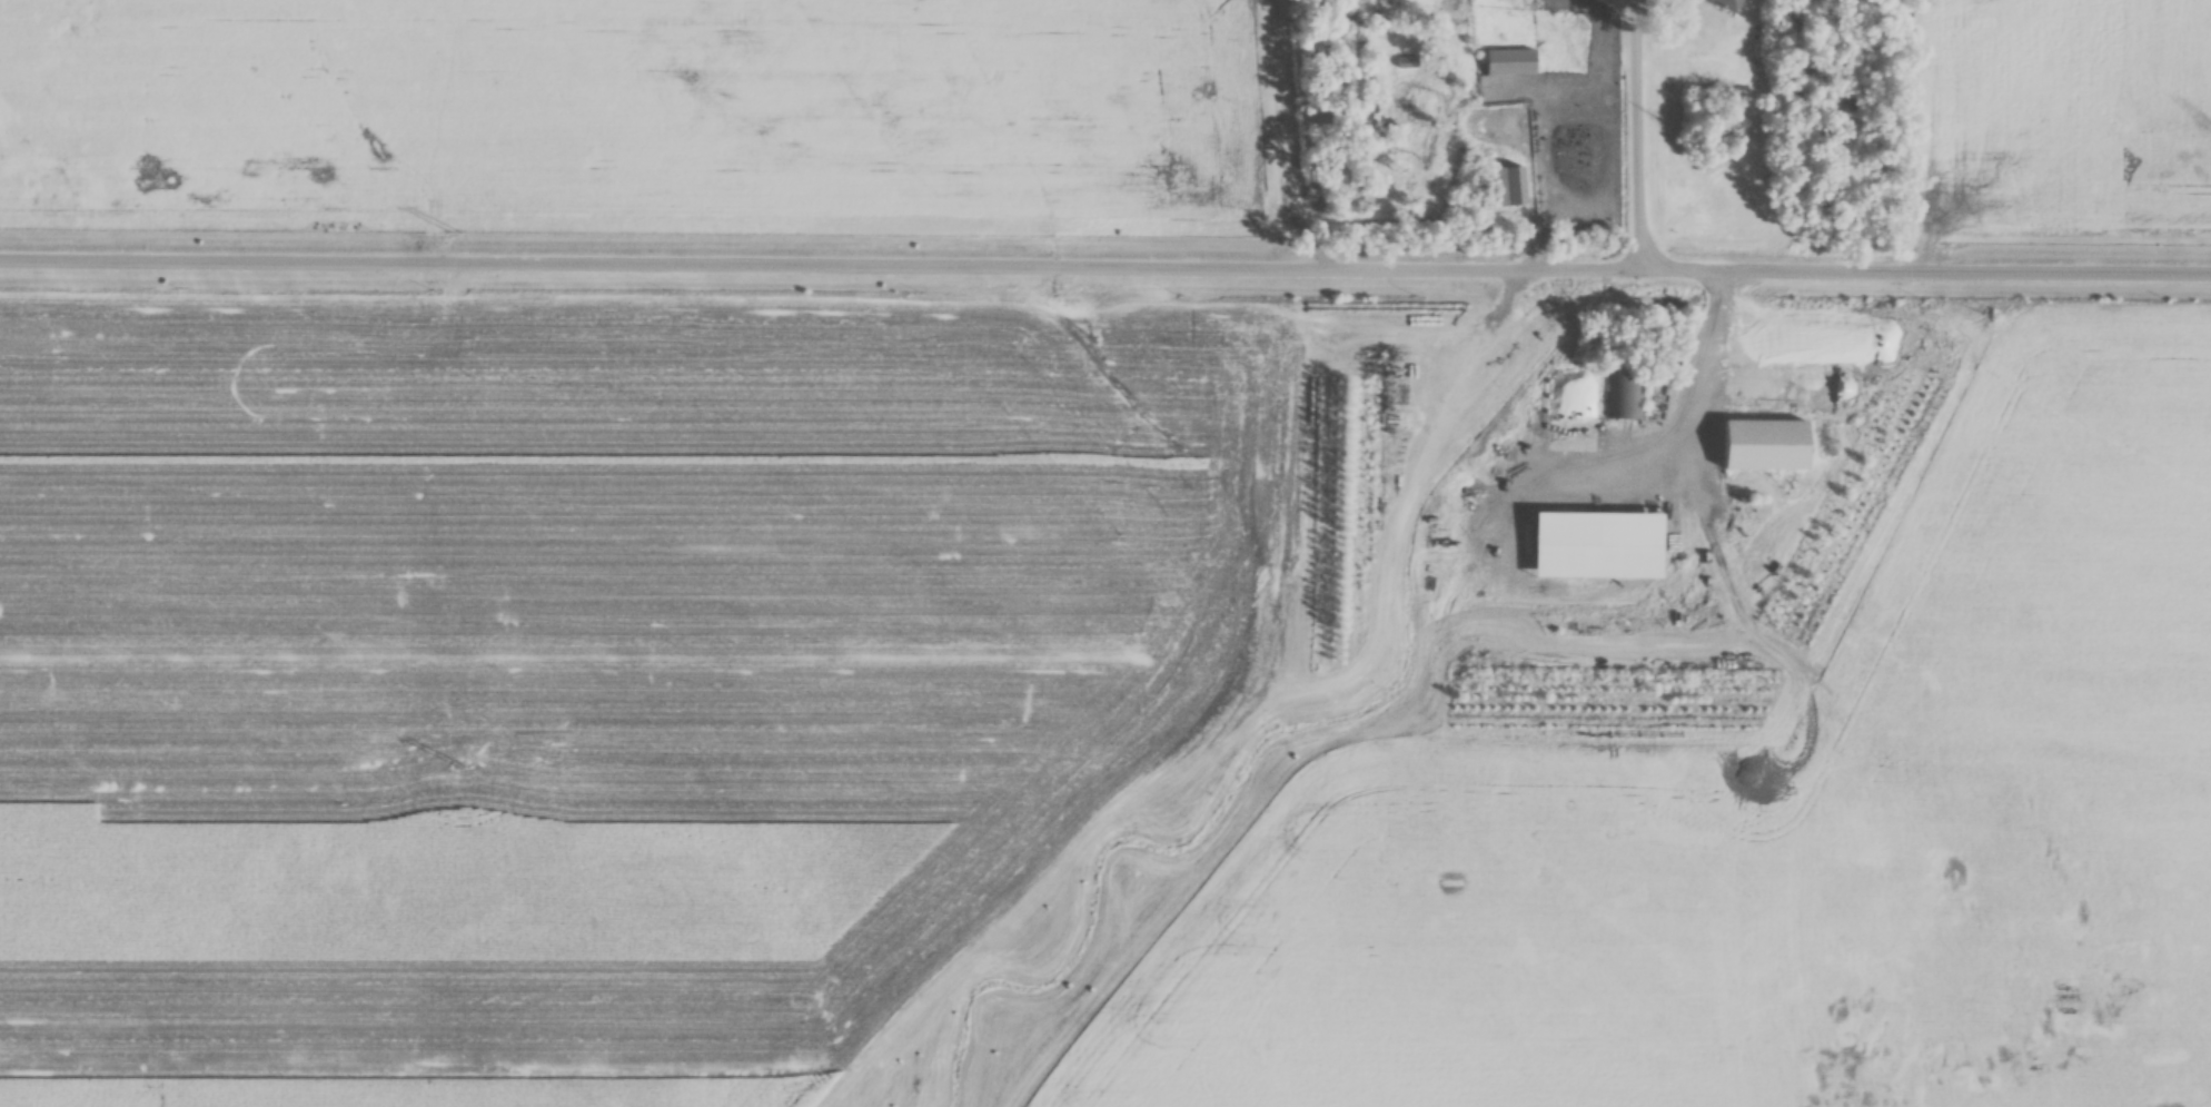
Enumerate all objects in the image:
building: (1726, 4)
building: (1509, 63)
building: (1406, 65)
road: (1639, 132)
building: (1507, 188)
power tower: (453, 234)
road: (1104, 264)
road: (1689, 377)
building: (1623, 398)
building: (1764, 447)
power tower: (457, 767)

